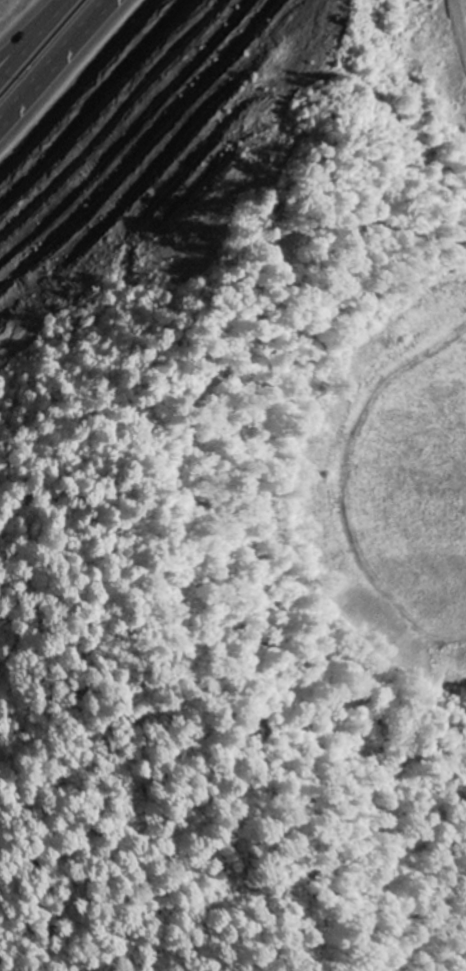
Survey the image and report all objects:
road: (48, 39)
road: (51, 55)
road: (72, 77)

